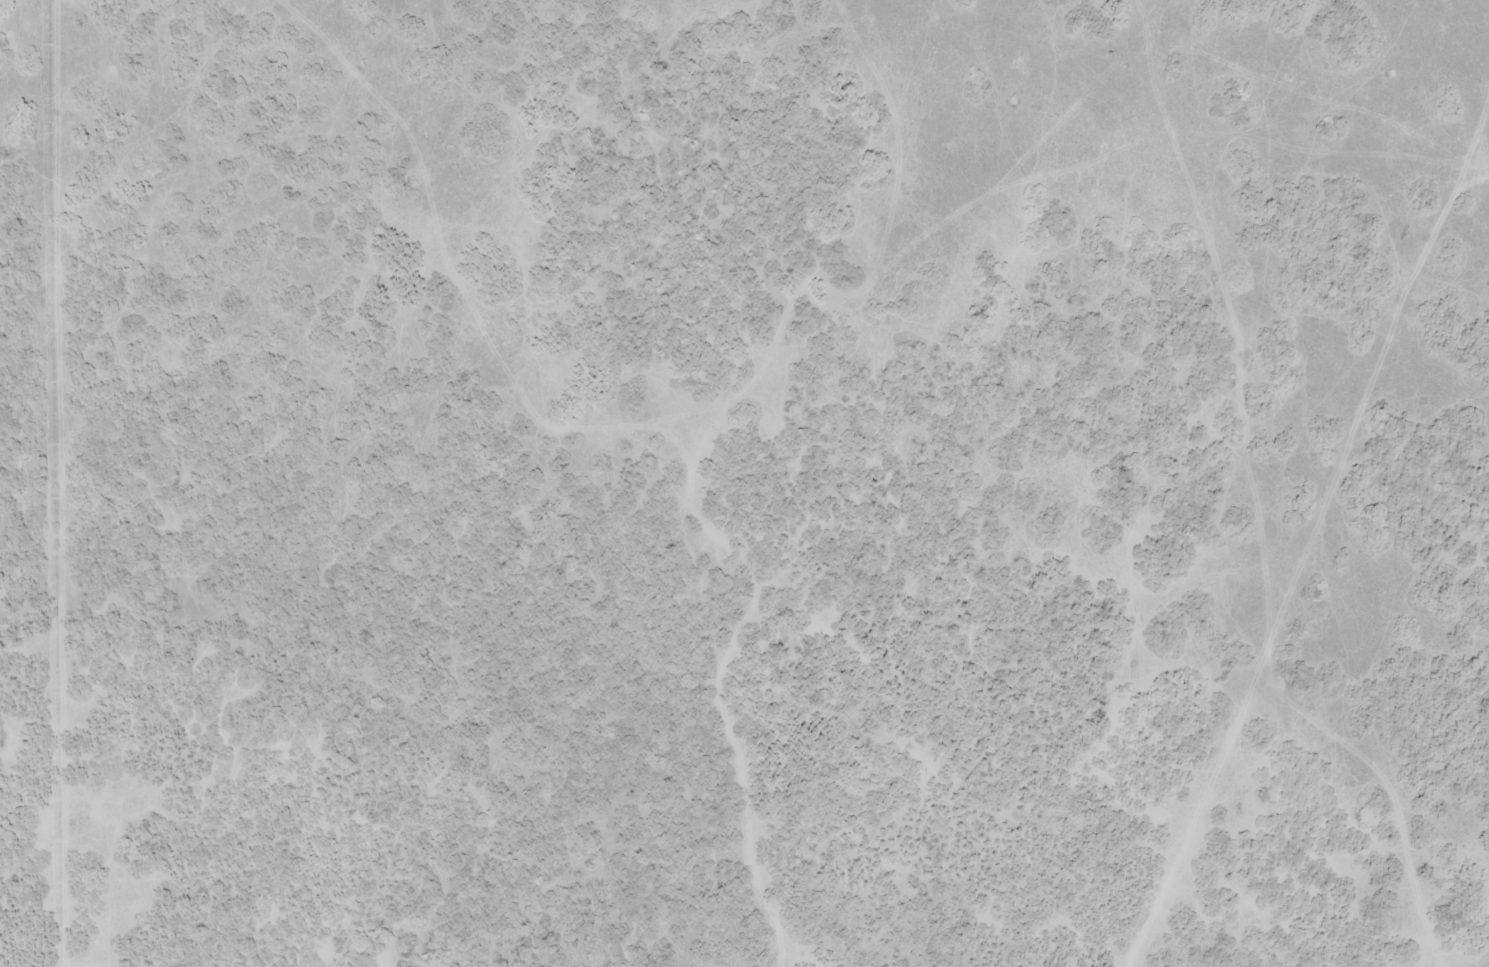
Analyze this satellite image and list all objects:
road: (1264, 482)

